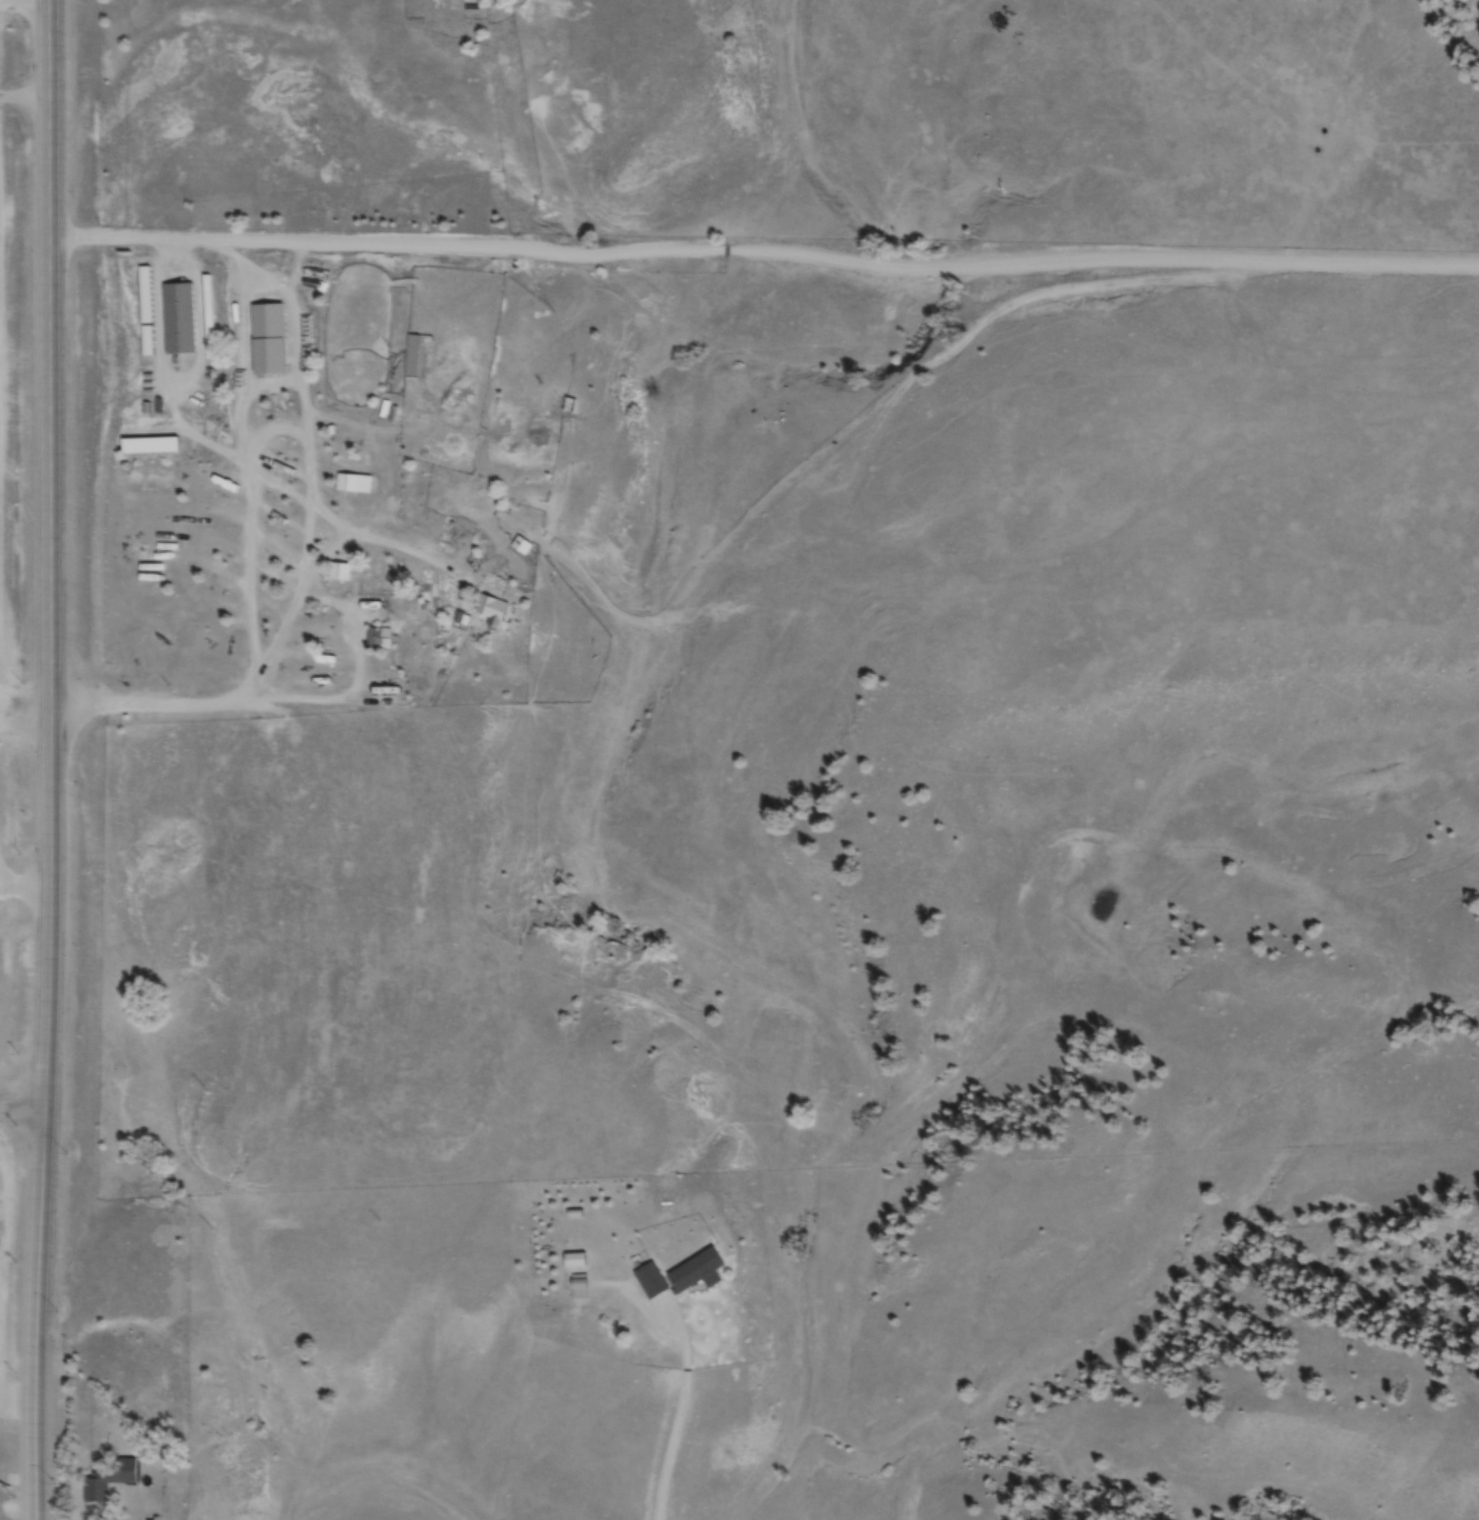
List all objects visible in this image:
road: (763, 252)
building: (145, 314)
building: (208, 320)
building: (178, 321)
building: (267, 341)
building: (548, 404)
building: (150, 448)
building: (346, 485)
building: (521, 548)
road: (46, 553)
building: (339, 574)
building: (491, 613)
building: (380, 641)
building: (324, 680)
building: (382, 704)
road: (22, 1110)
building: (696, 1273)
building: (650, 1282)
building: (579, 1288)
road: (41, 1313)
road: (676, 1447)
building: (108, 1481)

